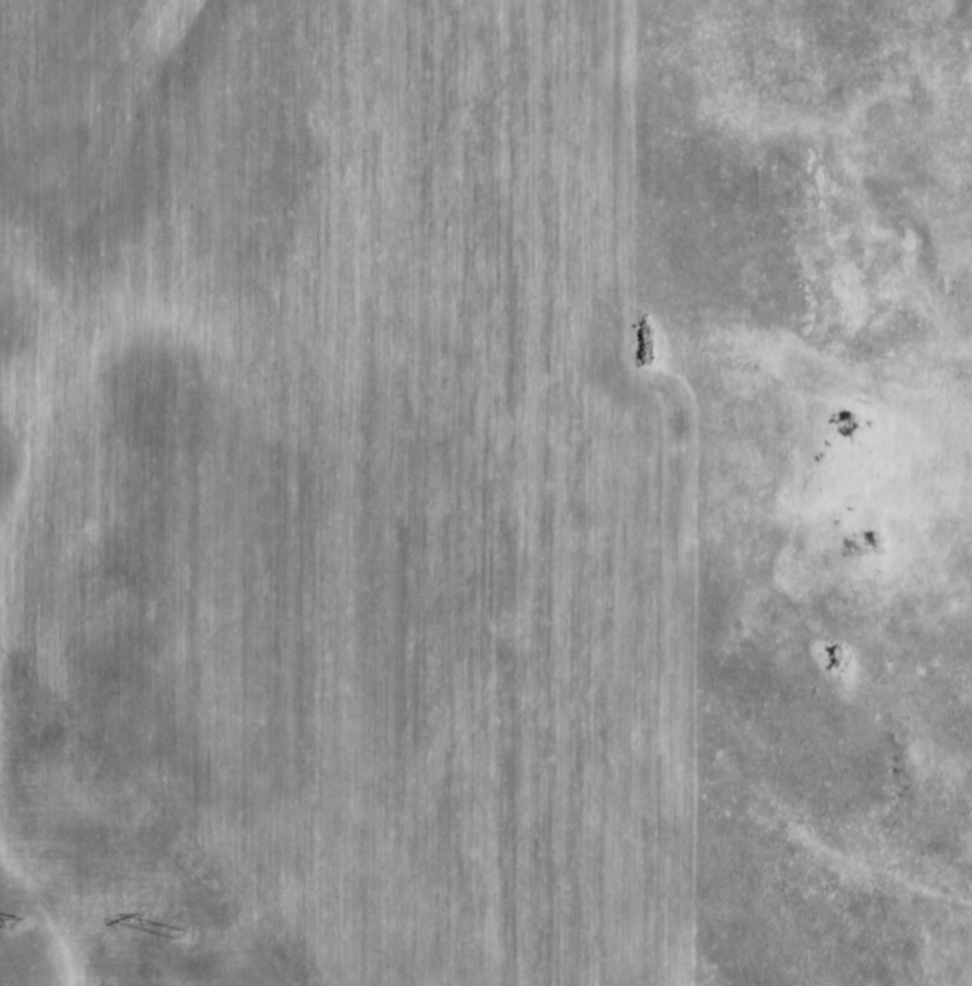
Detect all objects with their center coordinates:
road: (646, 218)
power tower: (169, 937)

